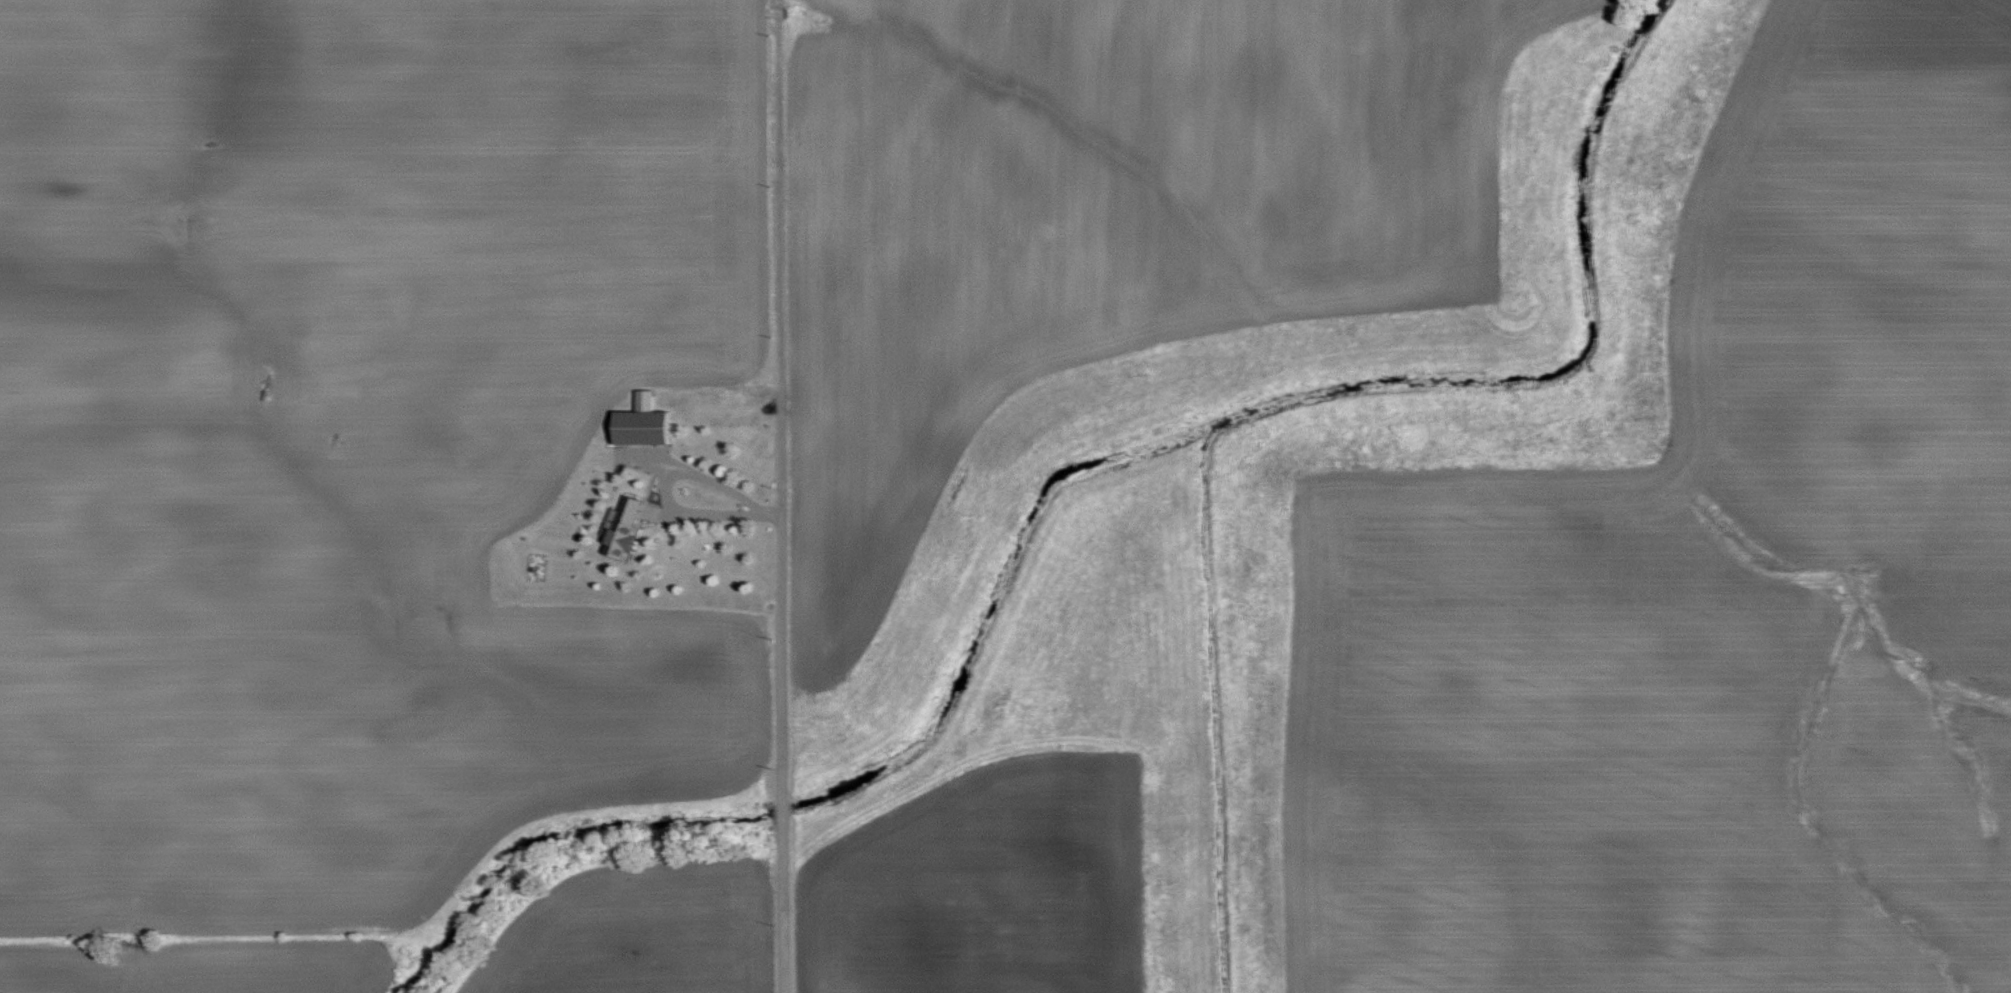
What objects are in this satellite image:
building: (648, 423)
road: (666, 494)
road: (782, 496)

